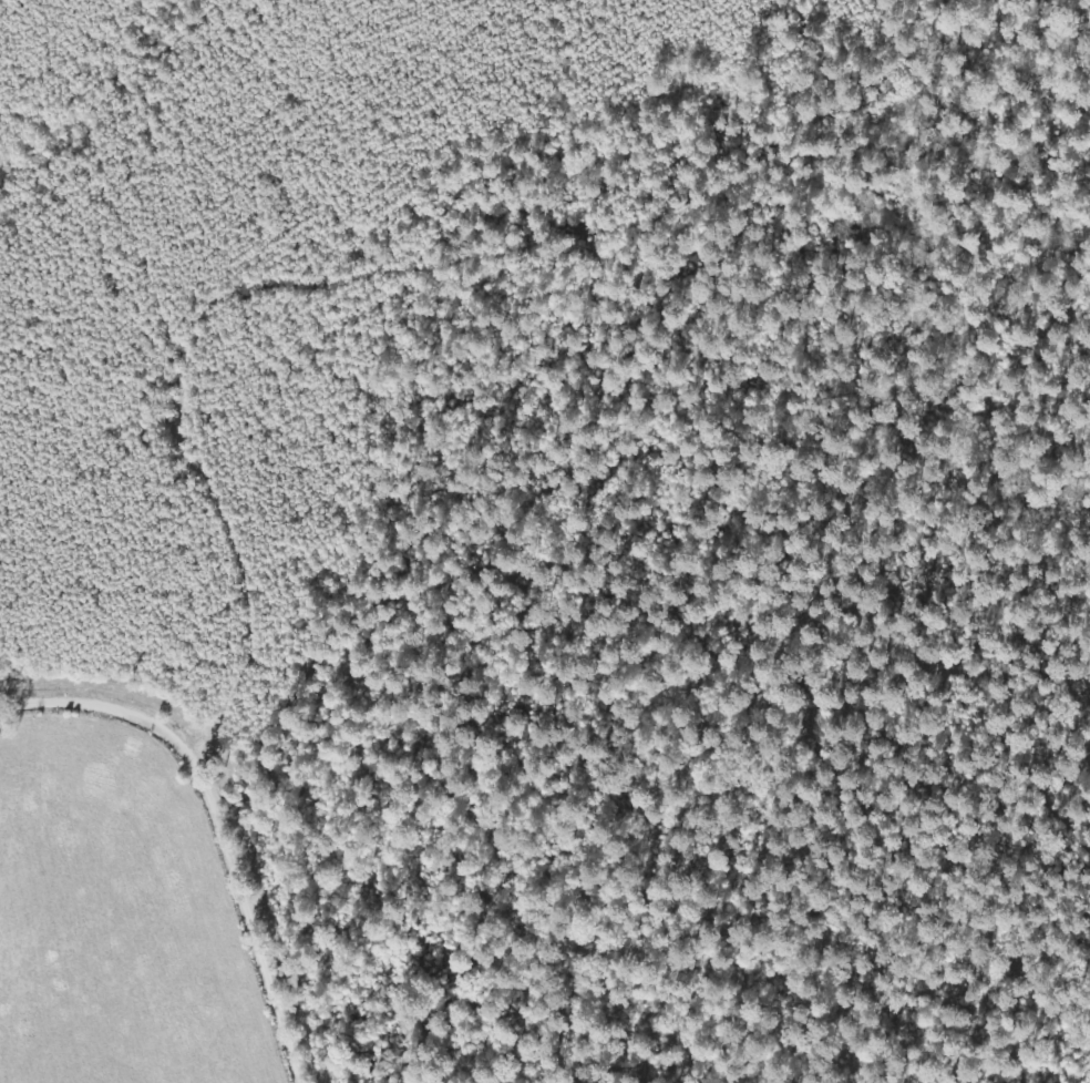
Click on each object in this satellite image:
road: (222, 825)

